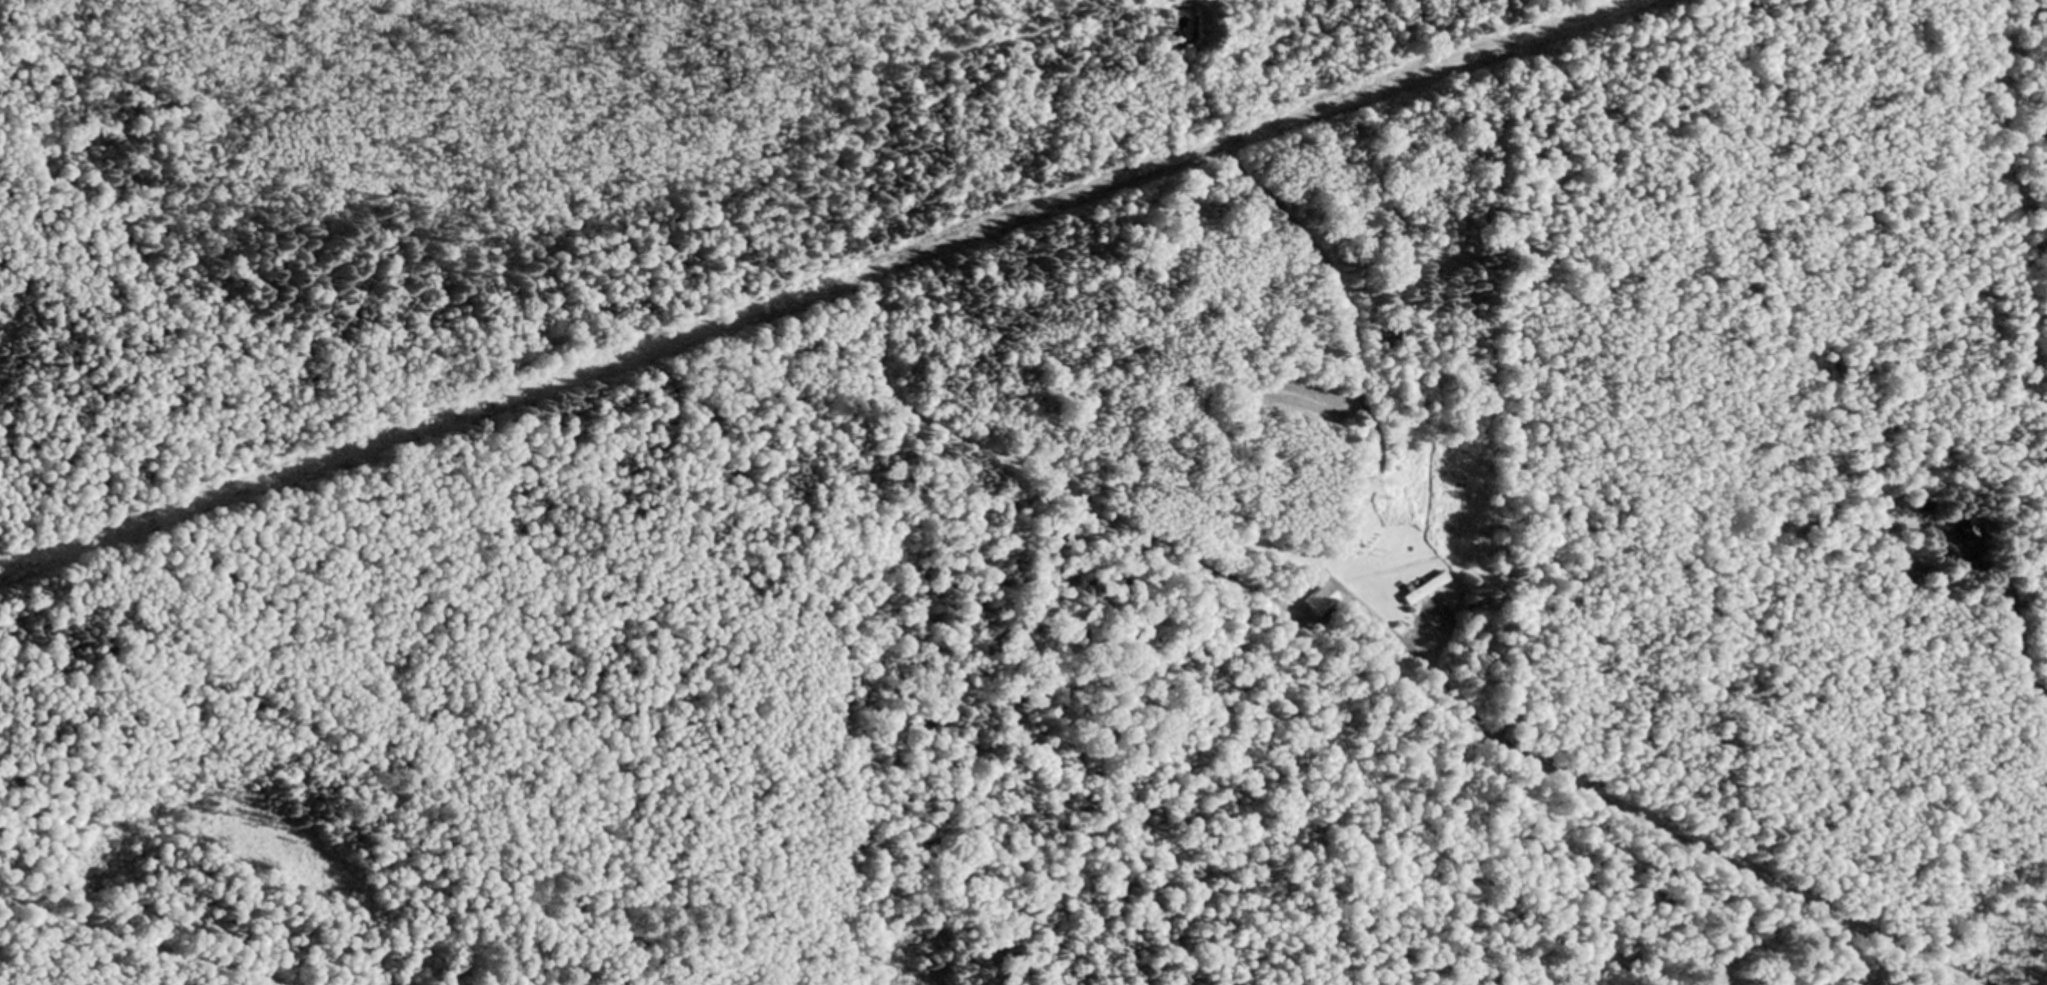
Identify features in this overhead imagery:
building: (1422, 591)
building: (1317, 602)
road: (1714, 859)
road: (140, 944)

